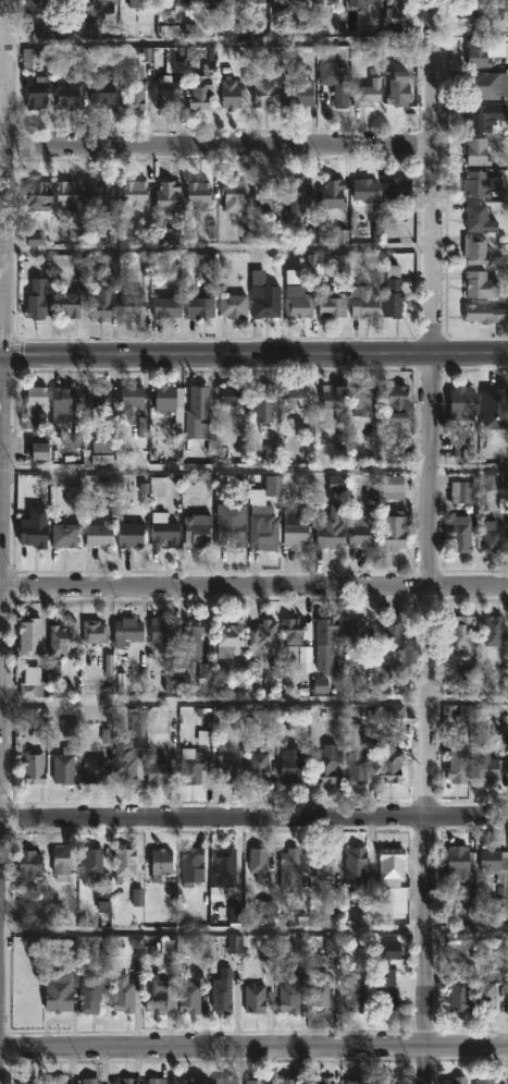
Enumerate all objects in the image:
building: (72, 1)
building: (104, 1)
building: (251, 1)
building: (317, 1)
building: (172, 2)
building: (283, 2)
building: (362, 2)
building: (139, 3)
building: (35, 4)
building: (218, 4)
building: (397, 8)
building: (480, 13)
road: (216, 46)
building: (476, 52)
building: (33, 56)
building: (335, 80)
building: (484, 84)
building: (397, 88)
building: (134, 89)
building: (35, 90)
building: (100, 92)
building: (165, 92)
building: (264, 93)
building: (299, 93)
building: (368, 93)
building: (67, 94)
building: (200, 94)
building: (230, 94)
building: (483, 117)
road: (218, 146)
building: (475, 150)
building: (479, 184)
building: (364, 188)
building: (397, 188)
building: (198, 193)
building: (67, 194)
building: (134, 194)
building: (165, 194)
building: (332, 194)
building: (36, 195)
building: (100, 196)
building: (233, 196)
building: (265, 196)
building: (299, 197)
building: (476, 218)
road: (215, 249)
building: (478, 252)
building: (480, 284)
building: (393, 292)
building: (38, 299)
building: (264, 301)
building: (101, 303)
building: (297, 303)
building: (363, 303)
building: (133, 304)
building: (67, 305)
building: (199, 305)
building: (332, 305)
building: (232, 306)
building: (168, 307)
building: (485, 314)
road: (253, 354)
road: (3, 381)
building: (228, 394)
building: (295, 395)
building: (65, 397)
building: (164, 397)
building: (129, 398)
building: (97, 399)
building: (362, 401)
building: (262, 402)
building: (395, 402)
building: (463, 402)
building: (198, 403)
building: (494, 403)
building: (34, 405)
building: (332, 406)
building: (39, 447)
road: (253, 472)
building: (392, 486)
building: (461, 491)
building: (261, 521)
building: (231, 524)
building: (296, 527)
building: (331, 528)
building: (197, 529)
building: (394, 532)
building: (99, 533)
building: (164, 533)
building: (363, 533)
building: (461, 533)
building: (33, 534)
building: (63, 534)
building: (131, 534)
building: (493, 537)
road: (430, 541)
road: (253, 586)
building: (126, 630)
building: (494, 630)
building: (92, 631)
building: (394, 632)
building: (461, 632)
building: (27, 634)
building: (165, 634)
building: (261, 635)
building: (227, 636)
building: (292, 636)
building: (61, 638)
building: (190, 638)
building: (324, 642)
building: (391, 673)
building: (32, 682)
road: (253, 706)
building: (269, 719)
building: (137, 727)
building: (389, 760)
building: (458, 763)
building: (126, 764)
building: (324, 764)
building: (190, 765)
building: (290, 765)
building: (33, 766)
building: (63, 766)
building: (258, 767)
building: (357, 767)
building: (225, 769)
building: (488, 769)
building: (94, 770)
building: (158, 774)
road: (253, 816)
building: (322, 862)
building: (392, 862)
building: (124, 863)
building: (457, 863)
building: (27, 864)
building: (60, 864)
building: (160, 864)
building: (190, 864)
building: (258, 864)
building: (355, 864)
building: (92, 866)
building: (289, 867)
building: (222, 873)
building: (501, 879)
road: (253, 935)
building: (333, 948)
building: (387, 962)
building: (59, 990)
building: (222, 991)
building: (319, 991)
building: (122, 992)
building: (289, 994)
building: (355, 994)
building: (160, 995)
building: (459, 995)
building: (507, 995)
building: (89, 996)
building: (485, 997)
building: (188, 998)
building: (255, 998)
building: (386, 999)
road: (253, 1045)
building: (189, 1080)
building: (225, 1080)
building: (355, 1080)
building: (386, 1080)
building: (456, 1080)
building: (484, 1080)
building: (26, 1081)
building: (57, 1081)
building: (90, 1081)
building: (122, 1081)
building: (154, 1081)
building: (255, 1081)
building: (286, 1081)
building: (323, 1081)
building: (506, 1082)

